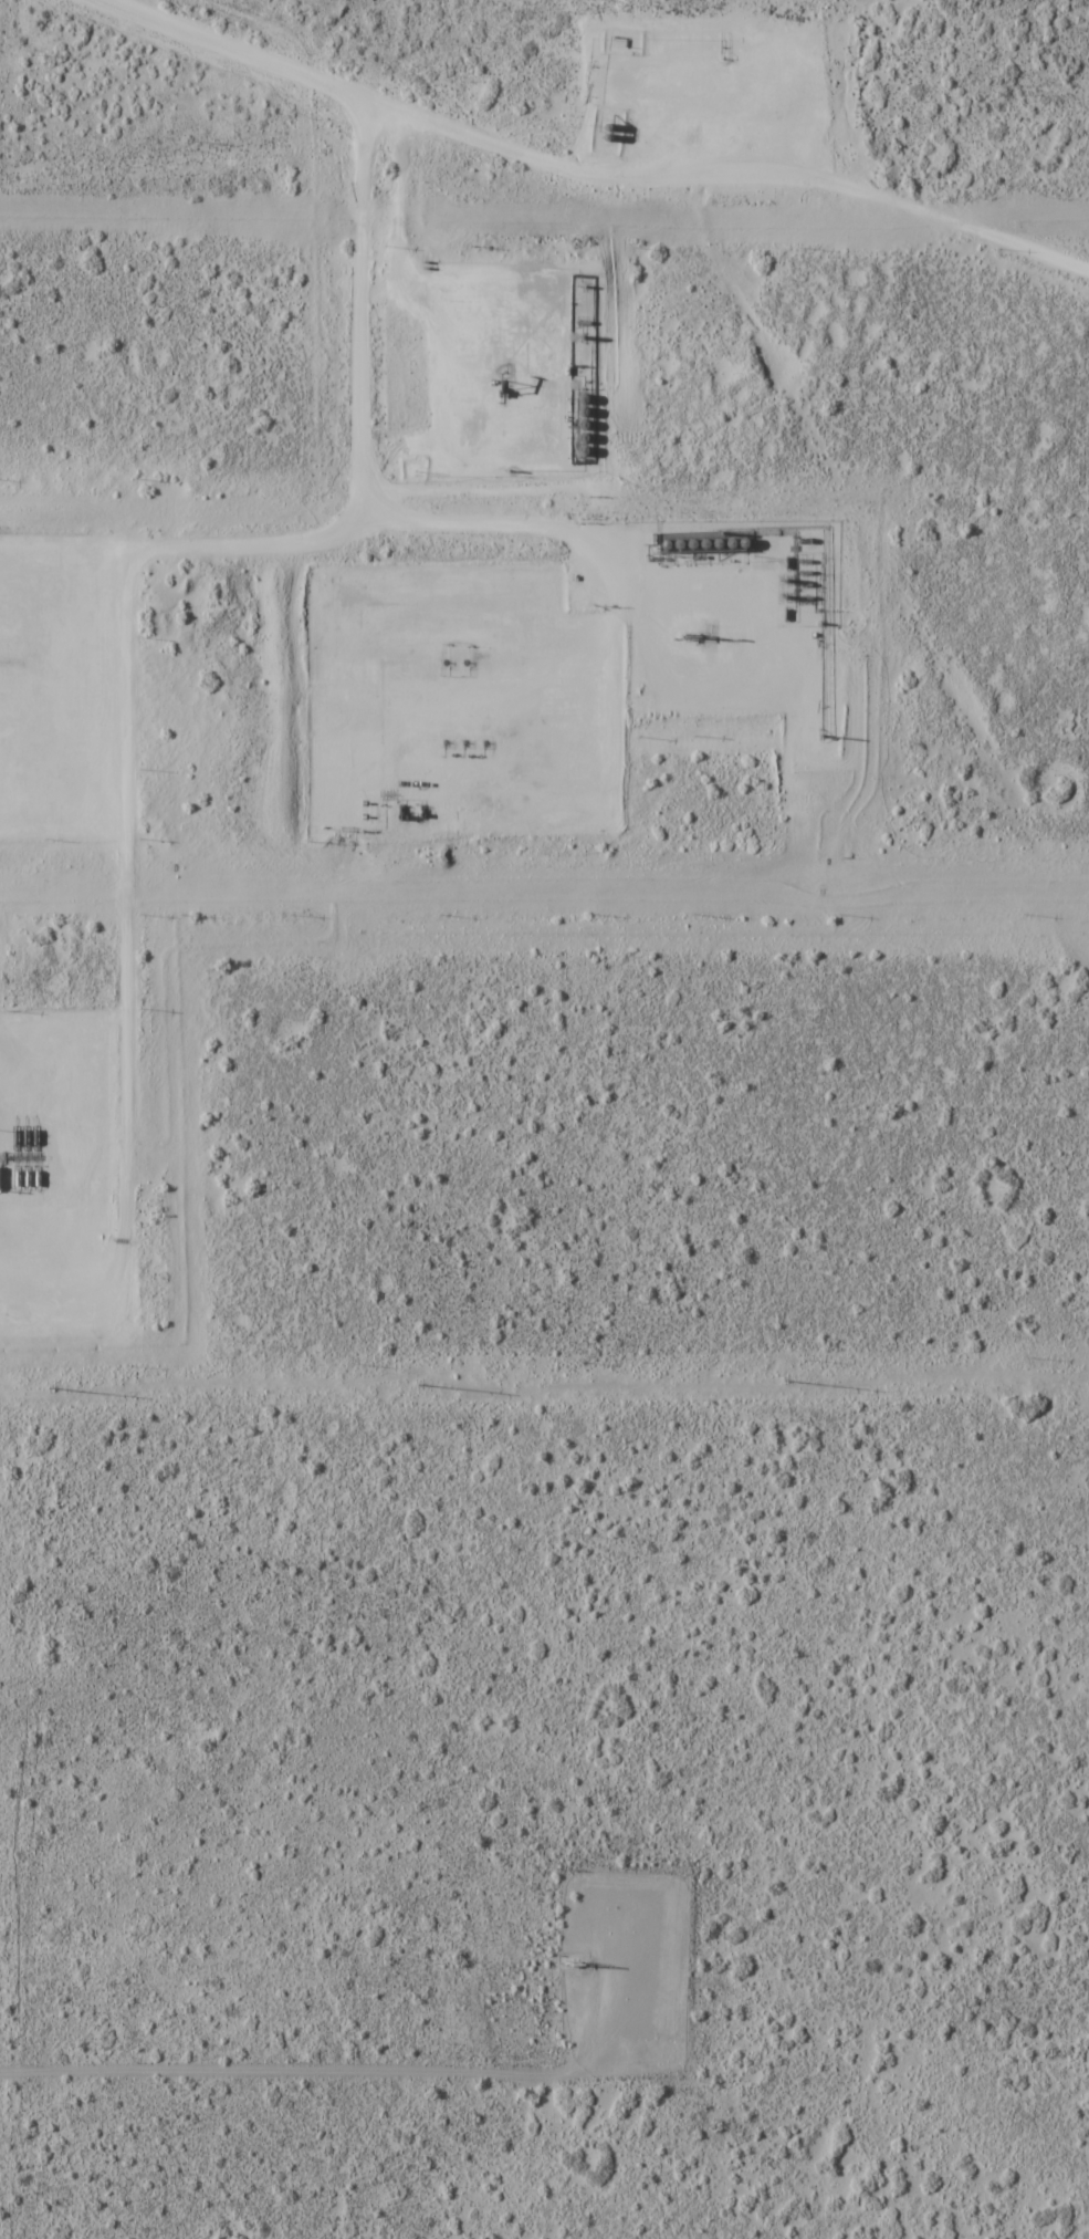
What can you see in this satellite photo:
road: (352, 97)
road: (852, 165)
petroleum well: (500, 384)
petroleum well: (687, 633)
road: (123, 659)
petroleum well: (446, 663)
petroleum well: (465, 663)
petroleum well: (446, 743)
petroleum well: (467, 743)
petroleum well: (486, 743)
petroleum well: (572, 1962)
road: (390, 2065)

